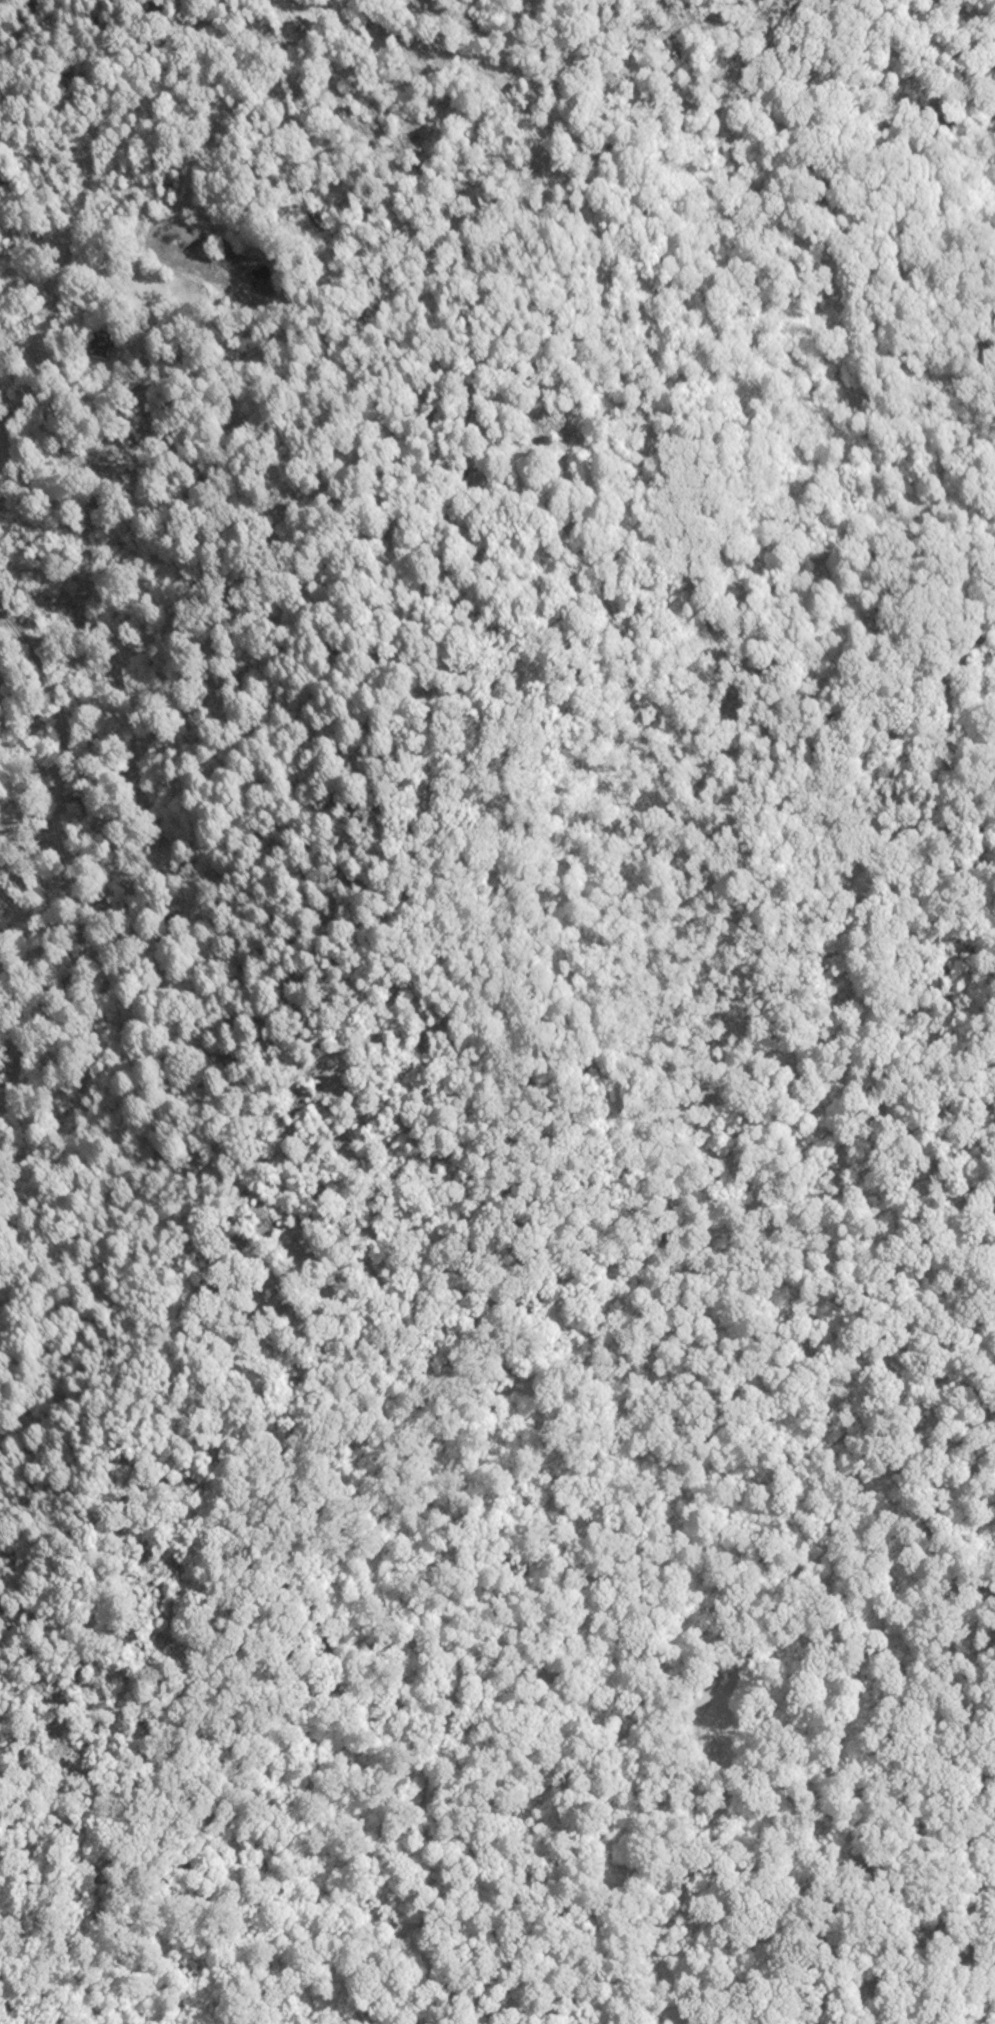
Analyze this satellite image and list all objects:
building: (100, 345)

